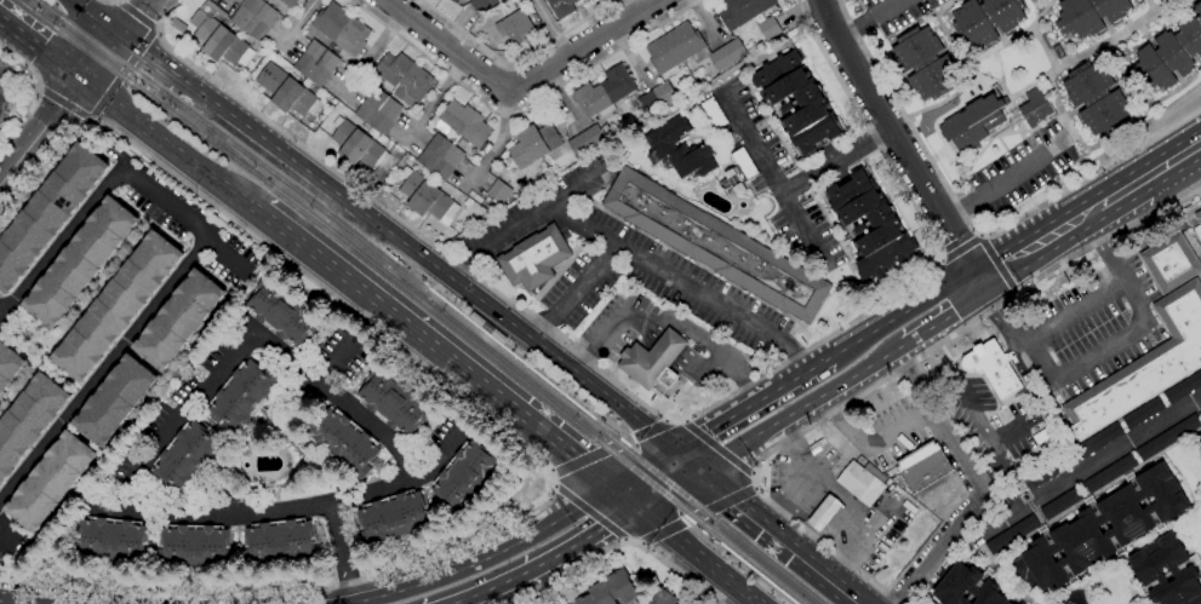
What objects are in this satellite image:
building: (588, 0)
building: (590, 0)
road: (116, 1)
building: (451, 1)
building: (288, 2)
building: (482, 5)
building: (560, 7)
road: (629, 7)
building: (740, 11)
building: (1087, 15)
road: (135, 16)
road: (132, 17)
building: (253, 17)
road: (93, 18)
road: (865, 19)
building: (984, 21)
road: (294, 24)
building: (513, 27)
road: (549, 28)
building: (341, 29)
building: (767, 29)
road: (155, 30)
traffic signals: (118, 36)
building: (221, 44)
building: (673, 47)
road: (40, 50)
building: (1169, 52)
road: (371, 54)
building: (726, 54)
road: (98, 57)
road: (516, 59)
building: (925, 63)
building: (314, 64)
road: (23, 71)
road: (121, 75)
building: (404, 79)
traffic signals: (81, 80)
road: (517, 86)
building: (286, 92)
building: (602, 92)
building: (656, 98)
building: (1094, 98)
road: (59, 99)
road: (433, 100)
building: (812, 105)
building: (1034, 108)
building: (376, 111)
road: (875, 111)
road: (519, 113)
building: (713, 114)
road: (91, 121)
building: (463, 123)
building: (971, 123)
road: (240, 125)
road: (40, 130)
building: (585, 142)
building: (355, 144)
road: (497, 145)
building: (532, 145)
road: (172, 149)
building: (679, 150)
building: (439, 157)
road: (834, 161)
building: (737, 172)
road: (1012, 176)
road: (1146, 176)
road: (773, 178)
building: (498, 191)
building: (424, 197)
road: (956, 209)
building: (46, 213)
road: (184, 219)
road: (520, 223)
building: (869, 224)
building: (1197, 225)
road: (972, 229)
road: (977, 235)
road: (62, 237)
building: (715, 246)
road: (1034, 246)
road: (957, 247)
road: (957, 251)
building: (533, 258)
parking lot: (618, 261)
building: (1168, 261)
building: (79, 263)
road: (995, 264)
road: (679, 283)
railway: (427, 288)
road: (979, 289)
road: (573, 293)
railway: (414, 297)
railway: (431, 298)
road: (965, 299)
road: (914, 300)
road: (80, 301)
building: (115, 307)
road: (1075, 310)
building: (280, 313)
building: (177, 321)
parking lot: (616, 321)
road: (667, 324)
parking lot: (1093, 327)
building: (486, 328)
road: (516, 329)
road: (930, 332)
road: (842, 344)
road: (437, 351)
road: (1102, 351)
building: (652, 361)
building: (8, 366)
building: (1144, 366)
road: (904, 367)
road: (103, 368)
building: (993, 368)
road: (795, 372)
road: (888, 375)
building: (1183, 387)
building: (242, 396)
parking lot: (980, 396)
road: (637, 401)
building: (113, 402)
building: (391, 402)
road: (801, 410)
building: (1142, 413)
road: (716, 419)
building: (27, 420)
road: (366, 425)
road: (612, 426)
parking lot: (897, 428)
road: (505, 433)
road: (1001, 437)
building: (1167, 437)
building: (1199, 441)
building: (342, 443)
road: (870, 443)
road: (714, 445)
road: (612, 447)
building: (1087, 447)
traffic signals: (669, 449)
building: (187, 458)
road: (793, 460)
building: (922, 466)
road: (993, 466)
road: (640, 467)
road: (1085, 467)
traffic signals: (698, 472)
building: (1109, 473)
building: (1042, 474)
building: (464, 477)
building: (50, 482)
building: (859, 484)
traffic signals: (611, 487)
road: (667, 488)
road: (623, 496)
road: (973, 497)
building: (1058, 504)
traffic signals: (636, 507)
road: (591, 513)
building: (823, 513)
road: (693, 516)
building: (393, 518)
road: (831, 518)
road: (764, 527)
building: (1075, 528)
road: (699, 533)
building: (1011, 535)
road: (1, 539)
building: (110, 542)
railway: (719, 542)
building: (279, 543)
road: (613, 543)
building: (194, 550)
road: (697, 554)
road: (341, 556)
road: (485, 557)
road: (544, 560)
building: (1145, 568)
building: (966, 587)
building: (610, 591)
building: (662, 597)
road: (10, 603)
road: (451, 603)

